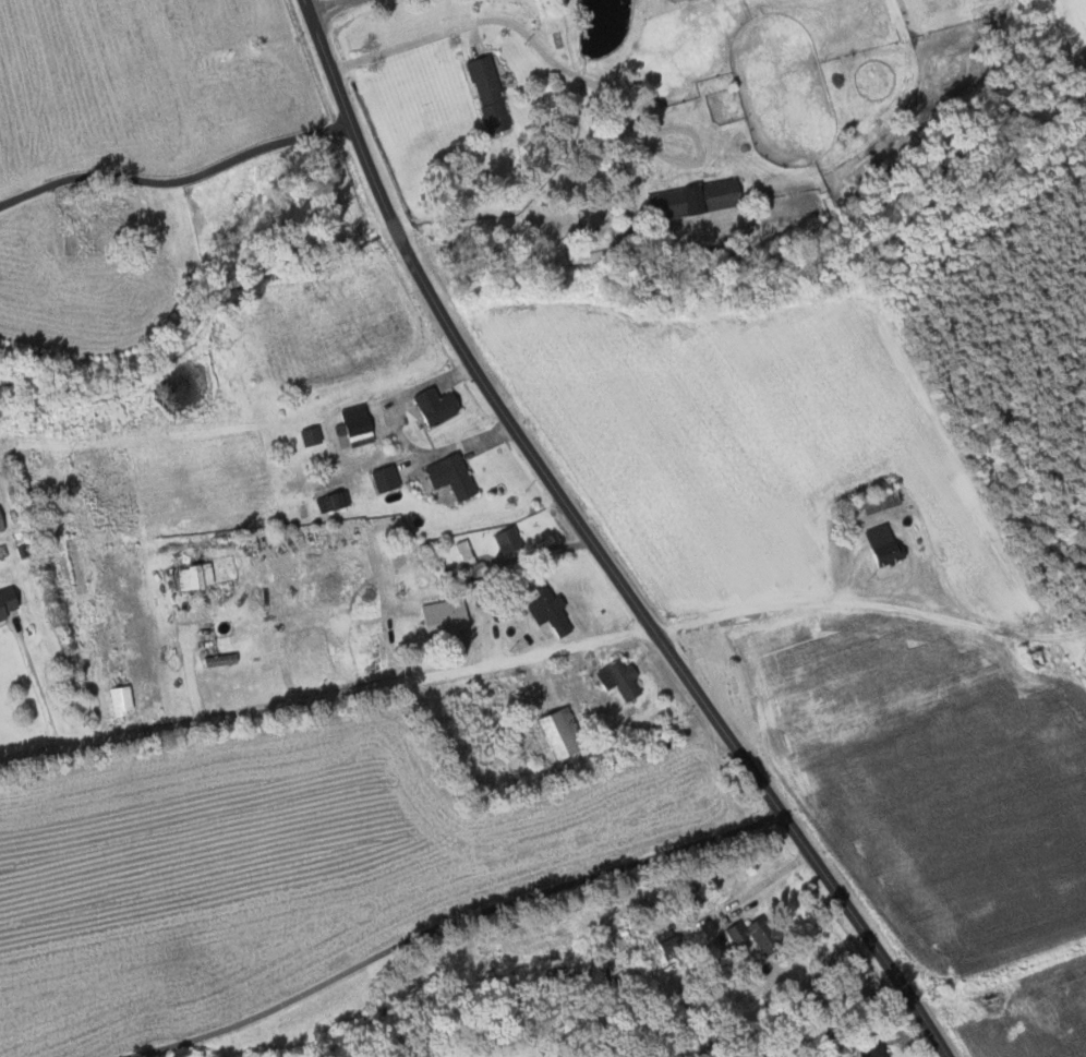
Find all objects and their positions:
road: (335, 10)
road: (432, 32)
building: (493, 95)
road: (174, 172)
building: (699, 199)
building: (441, 405)
building: (363, 425)
building: (456, 476)
building: (388, 478)
building: (879, 501)
road: (569, 511)
building: (2, 521)
building: (511, 540)
building: (888, 543)
building: (198, 576)
road: (869, 593)
building: (9, 603)
building: (553, 610)
building: (448, 616)
building: (624, 677)
road: (43, 696)
building: (124, 699)
road: (326, 701)
building: (566, 733)
road: (458, 922)
building: (760, 935)
building: (672, 944)
road: (922, 1022)
building: (881, 1052)

